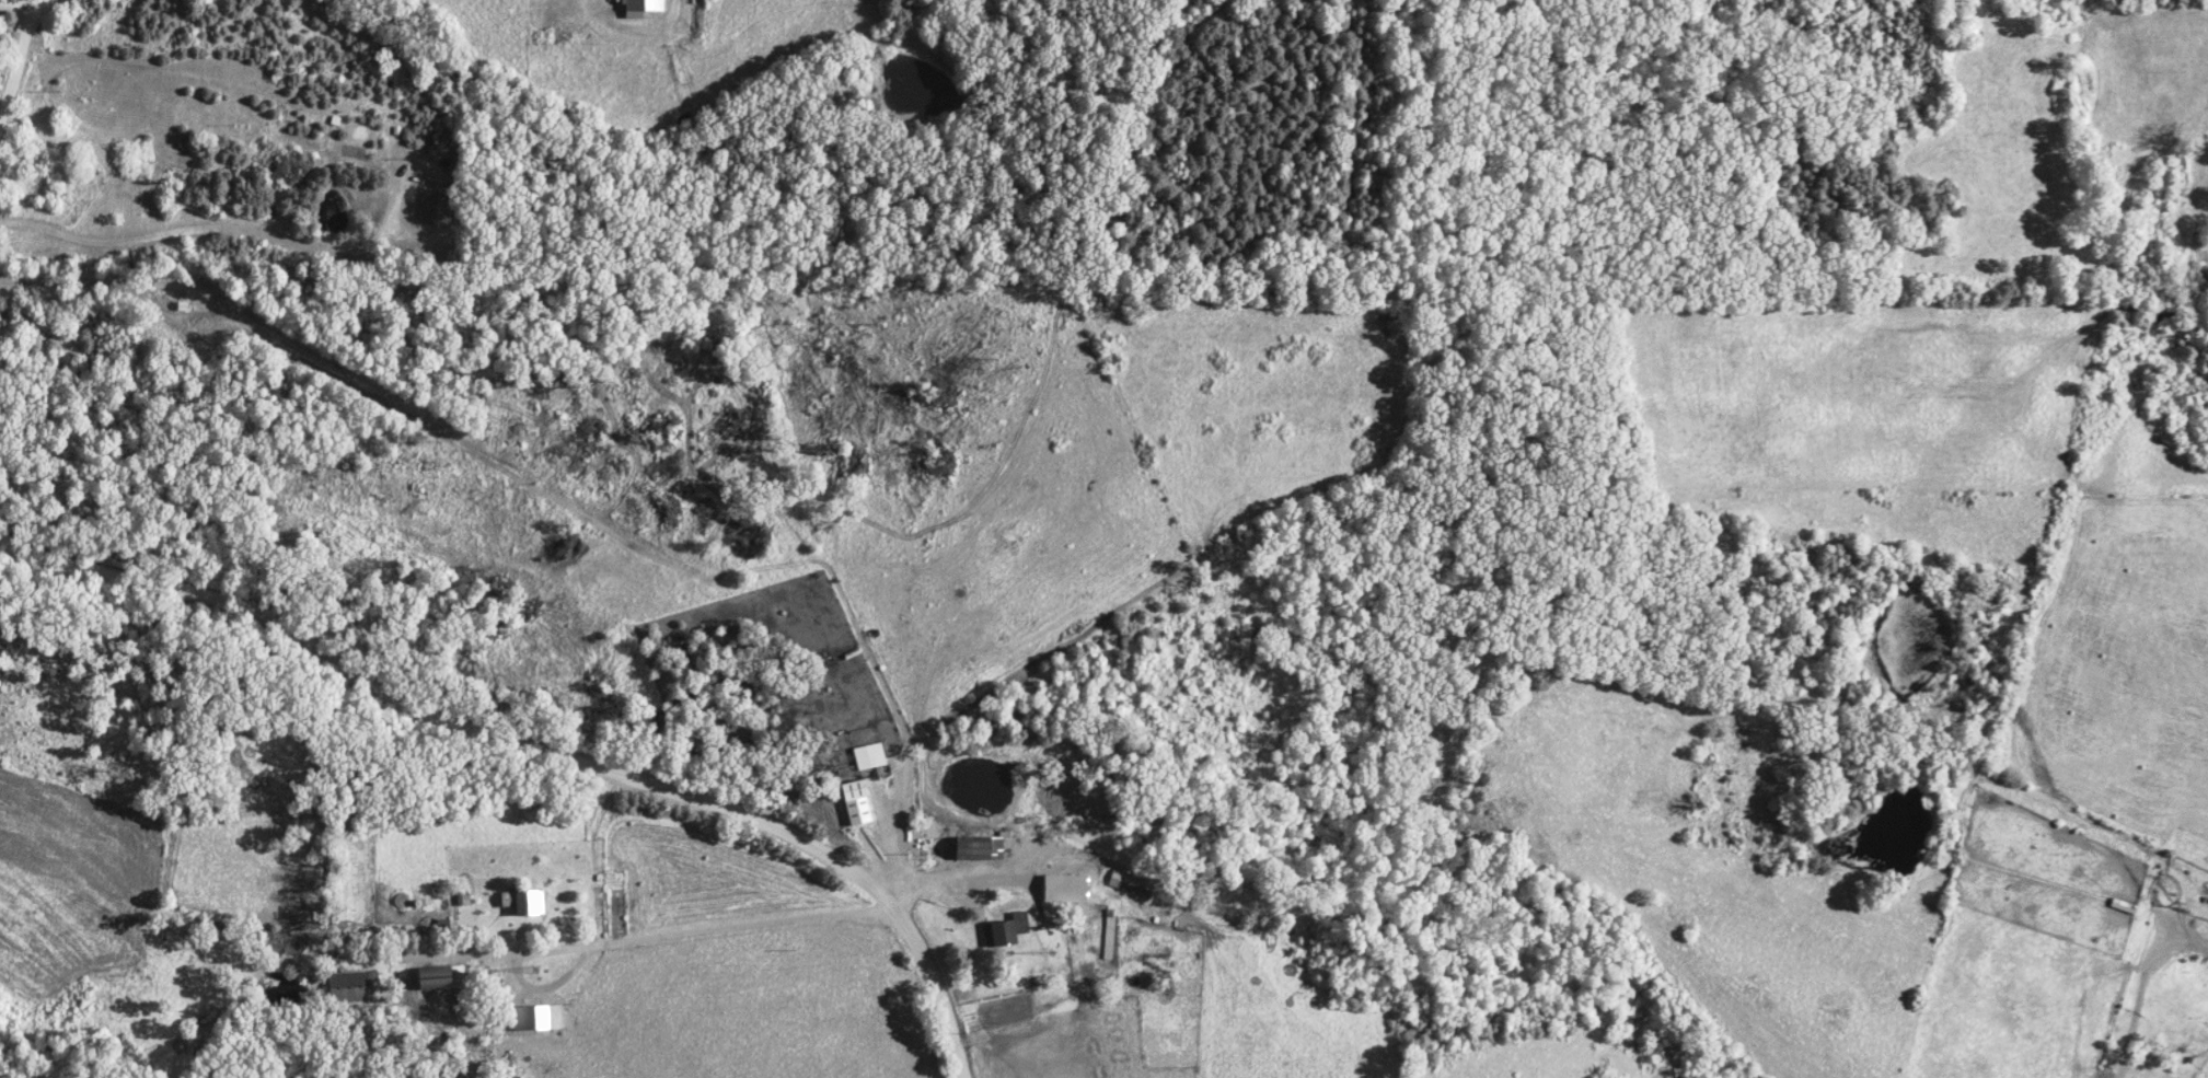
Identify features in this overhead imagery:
road: (10, 3)
road: (908, 4)
building: (639, 8)
road: (1352, 9)
building: (433, 212)
road: (532, 751)
building: (868, 757)
building: (854, 803)
building: (975, 849)
road: (930, 879)
building: (1129, 885)
building: (1059, 894)
building: (520, 903)
building: (1006, 929)
building: (1107, 947)
building: (433, 978)
road: (2136, 986)
building: (349, 987)
road: (994, 993)
building: (534, 1019)

